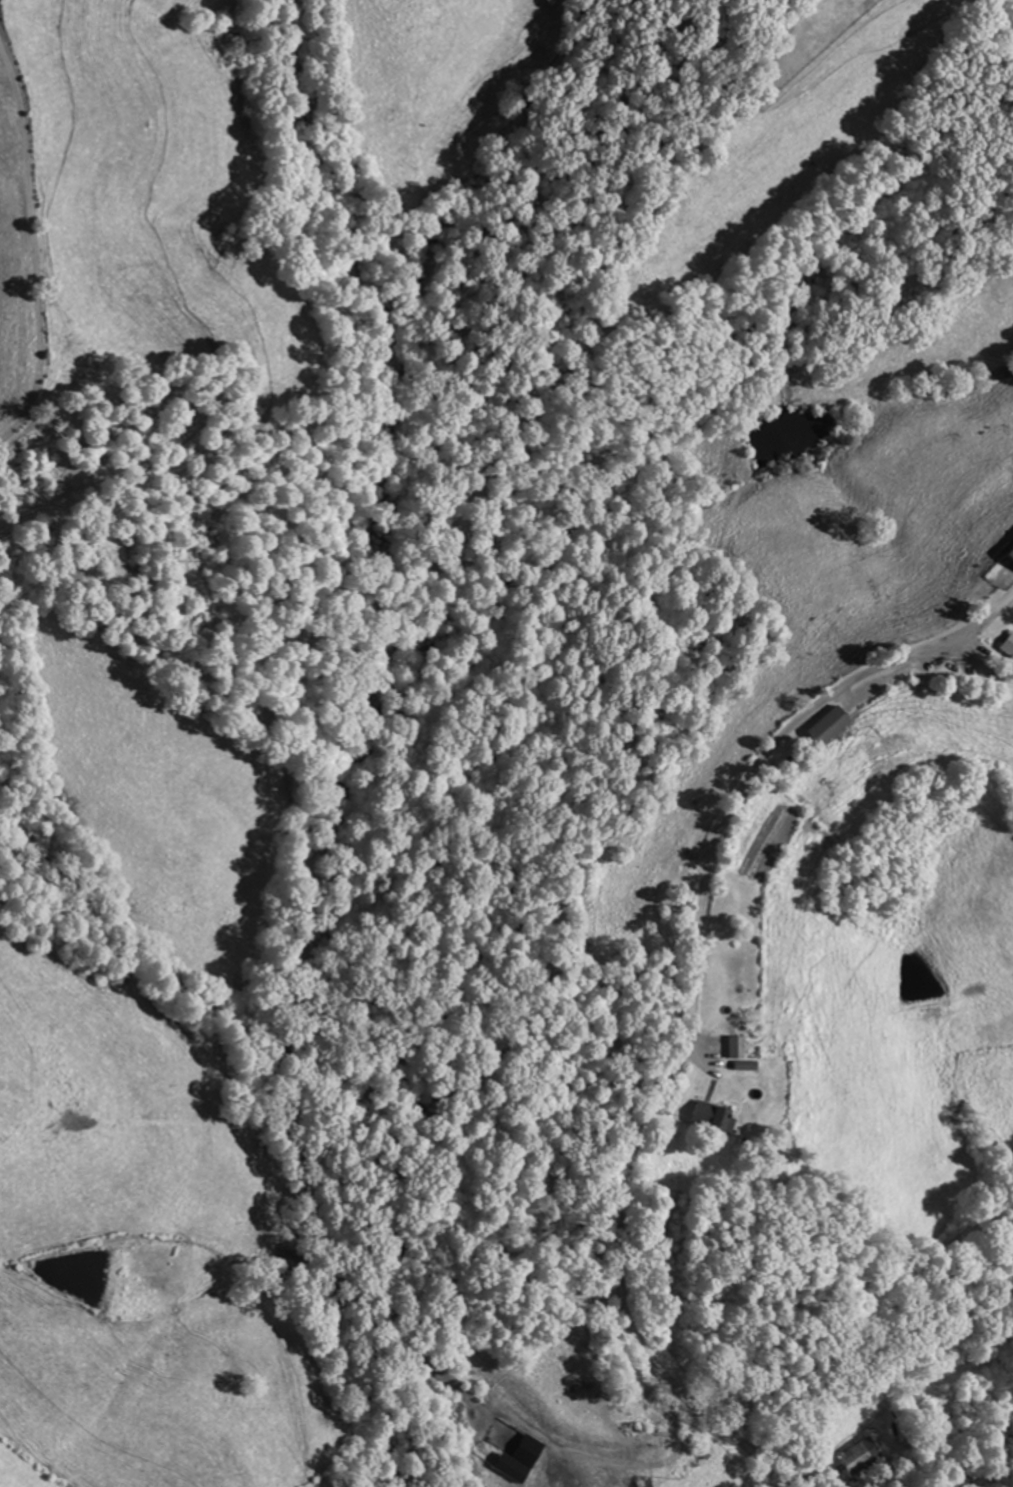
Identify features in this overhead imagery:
road: (33, 244)
building: (1008, 553)
building: (1008, 650)
building: (824, 725)
building: (738, 979)
road: (696, 1004)
building: (732, 1047)
building: (711, 1117)
building: (702, 1452)
building: (862, 1459)
building: (509, 1468)

